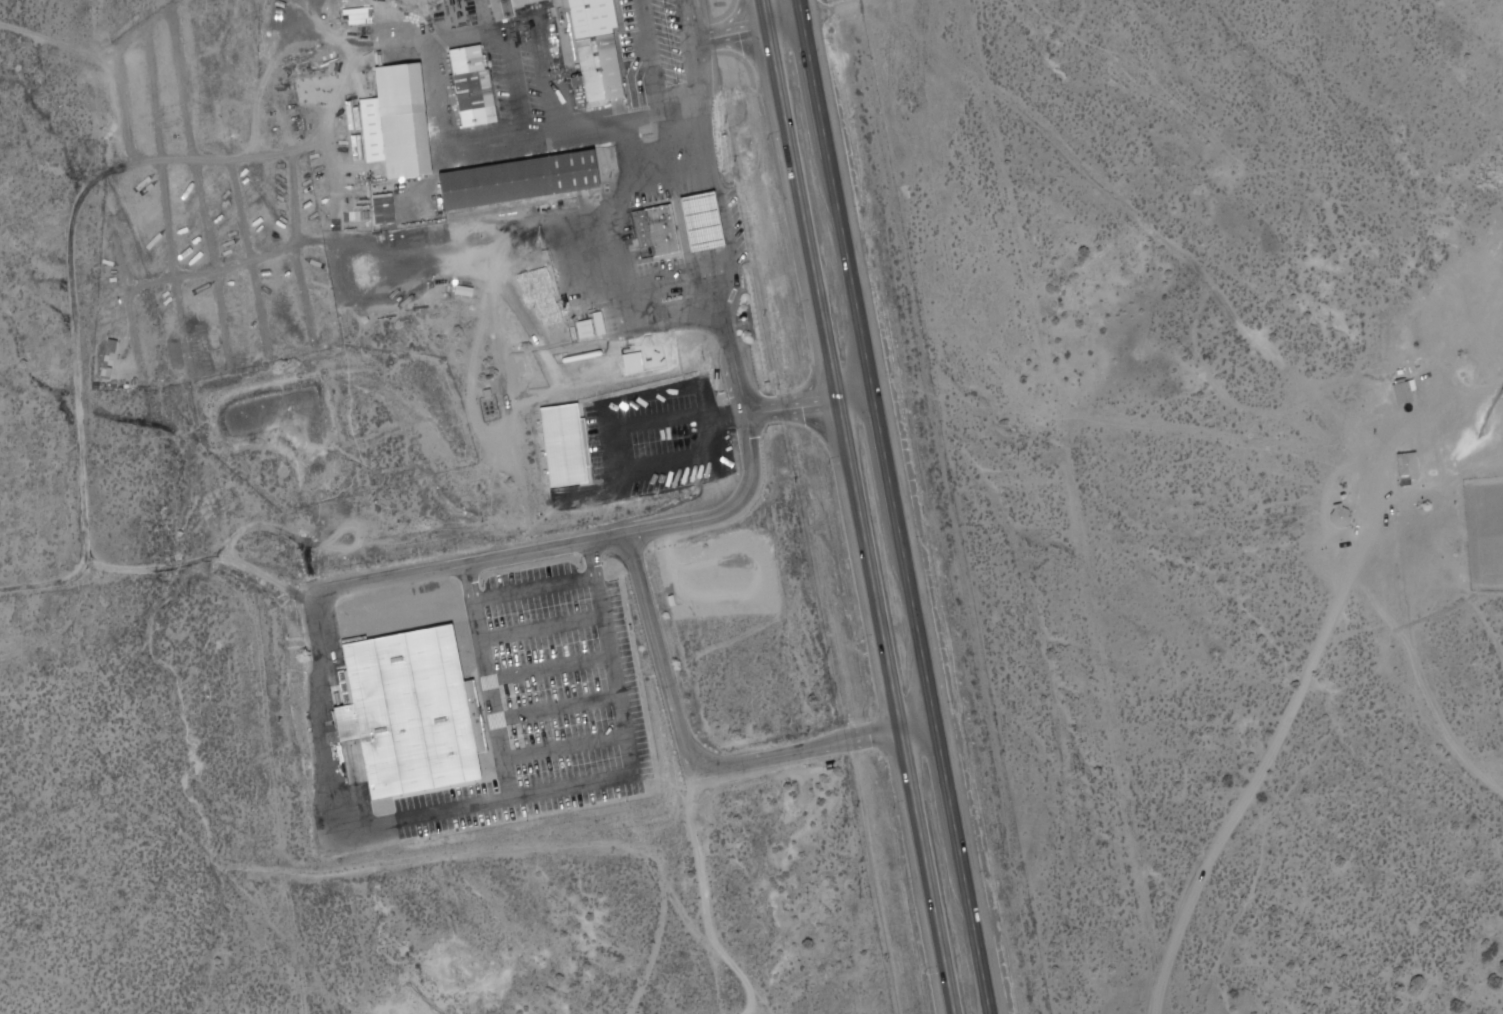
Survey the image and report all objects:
building: (524, 1)
road: (833, 19)
building: (597, 49)
building: (475, 85)
building: (401, 120)
building: (522, 179)
building: (385, 207)
building: (711, 222)
gas station: (711, 222)
road: (1160, 233)
building: (667, 235)
building: (572, 447)
road: (860, 507)
road: (898, 507)
road: (660, 618)
building: (420, 714)
road: (332, 730)
road: (1288, 744)
road: (518, 783)

